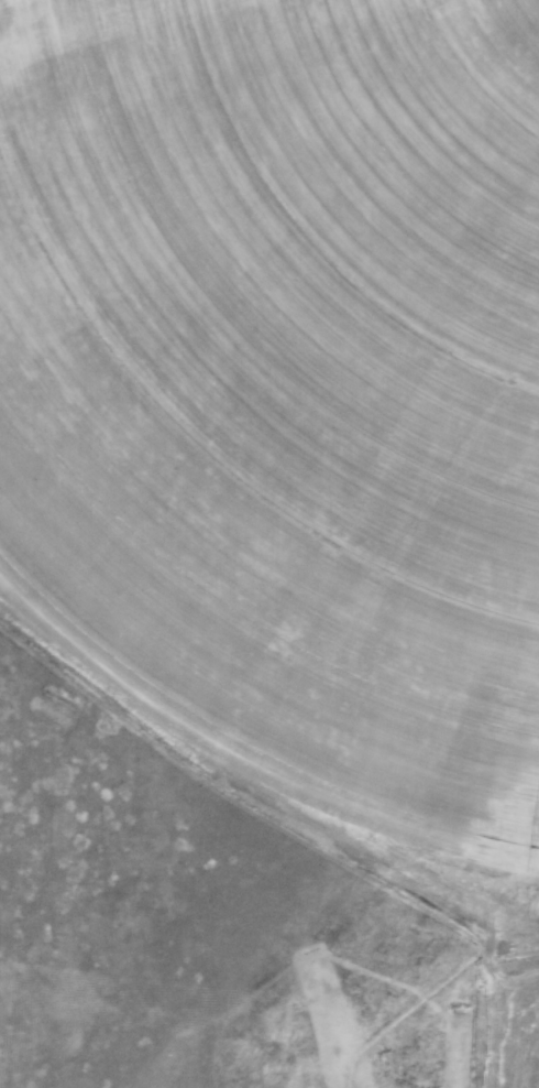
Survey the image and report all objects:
crop: (182, 938)

